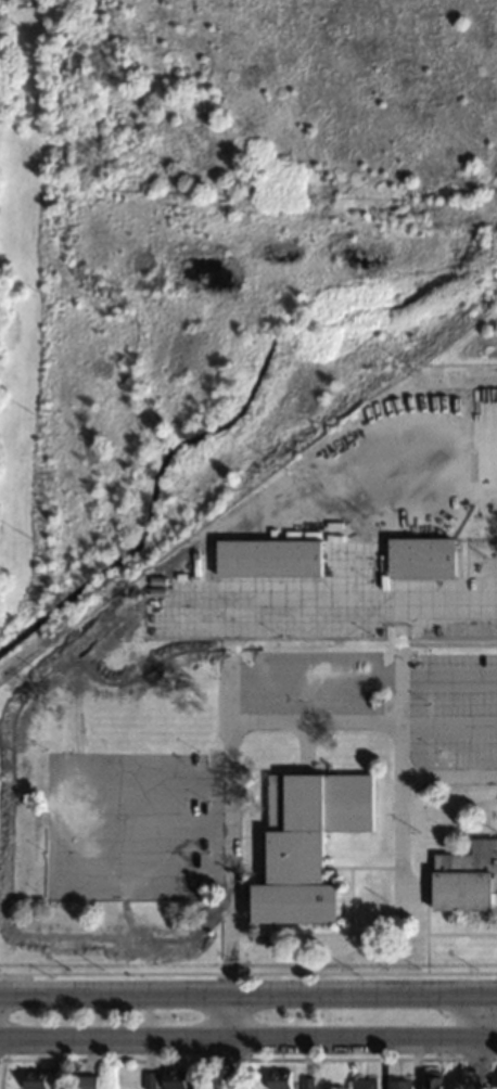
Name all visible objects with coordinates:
building: (270, 558)
building: (423, 558)
road: (342, 575)
road: (403, 688)
road: (239, 721)
road: (51, 825)
road: (404, 834)
building: (308, 842)
building: (467, 877)
road: (229, 935)
road: (248, 973)
road: (247, 991)
road: (5, 1017)
road: (248, 1036)
road: (476, 1039)
road: (227, 1041)
road: (248, 1042)
road: (105, 1059)
road: (353, 1059)
road: (476, 1059)
road: (496, 1074)
building: (37, 1079)
building: (175, 1079)
building: (279, 1079)
building: (150, 1080)
building: (434, 1080)
building: (87, 1082)
building: (307, 1084)
building: (365, 1084)
building: (398, 1085)

